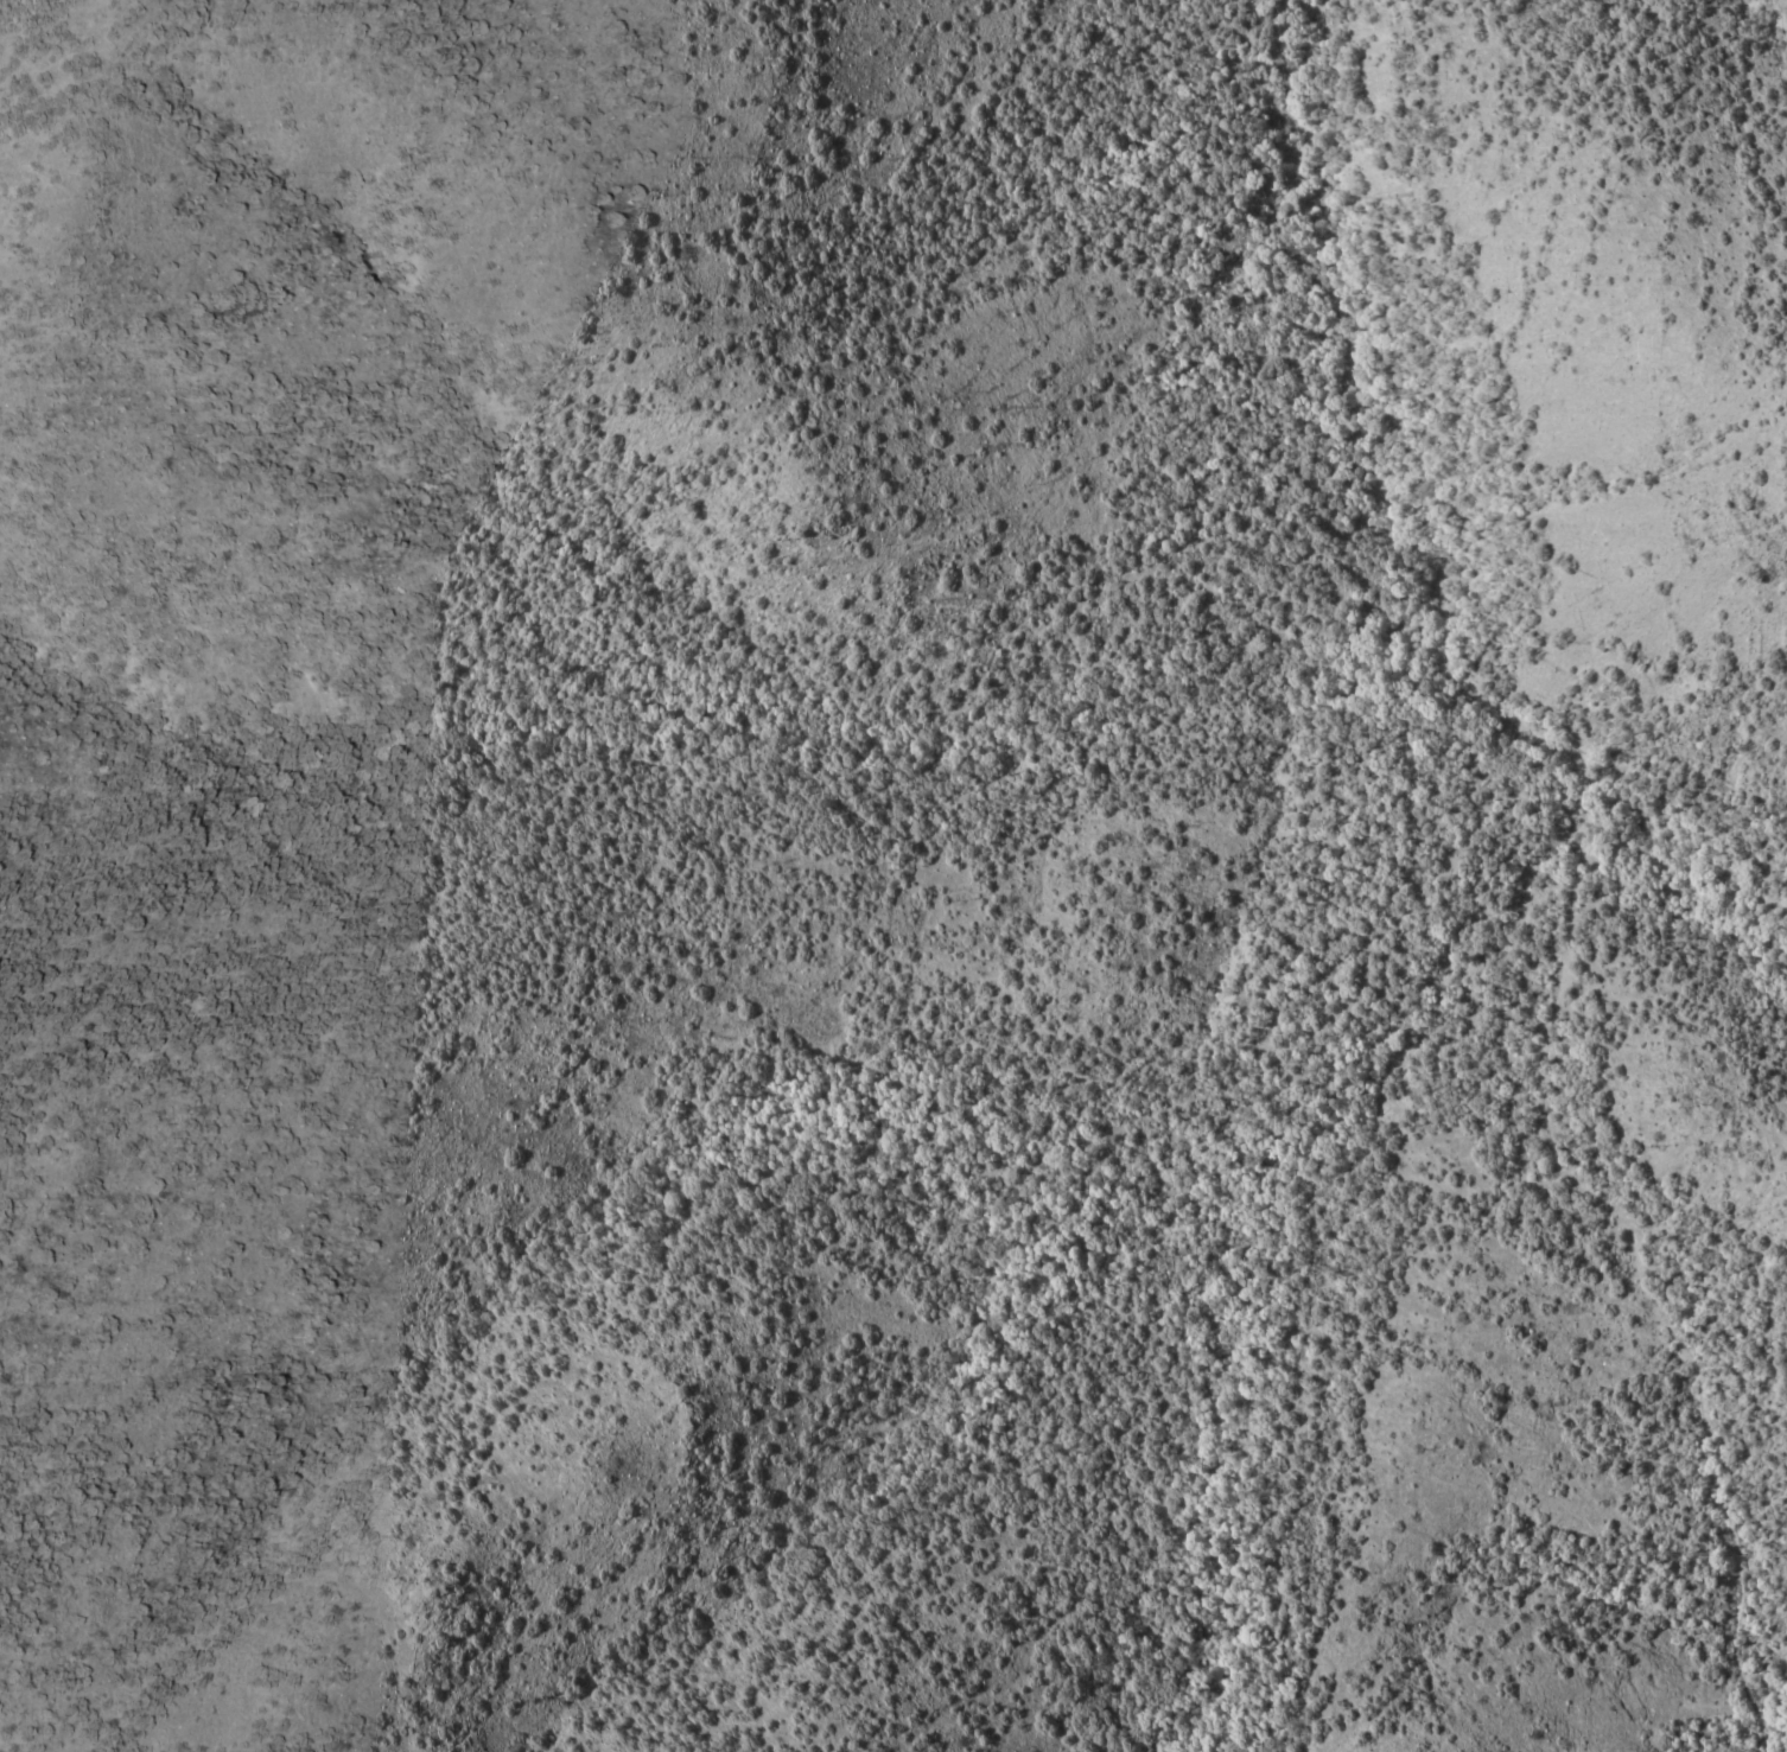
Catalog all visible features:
road: (1577, 862)

